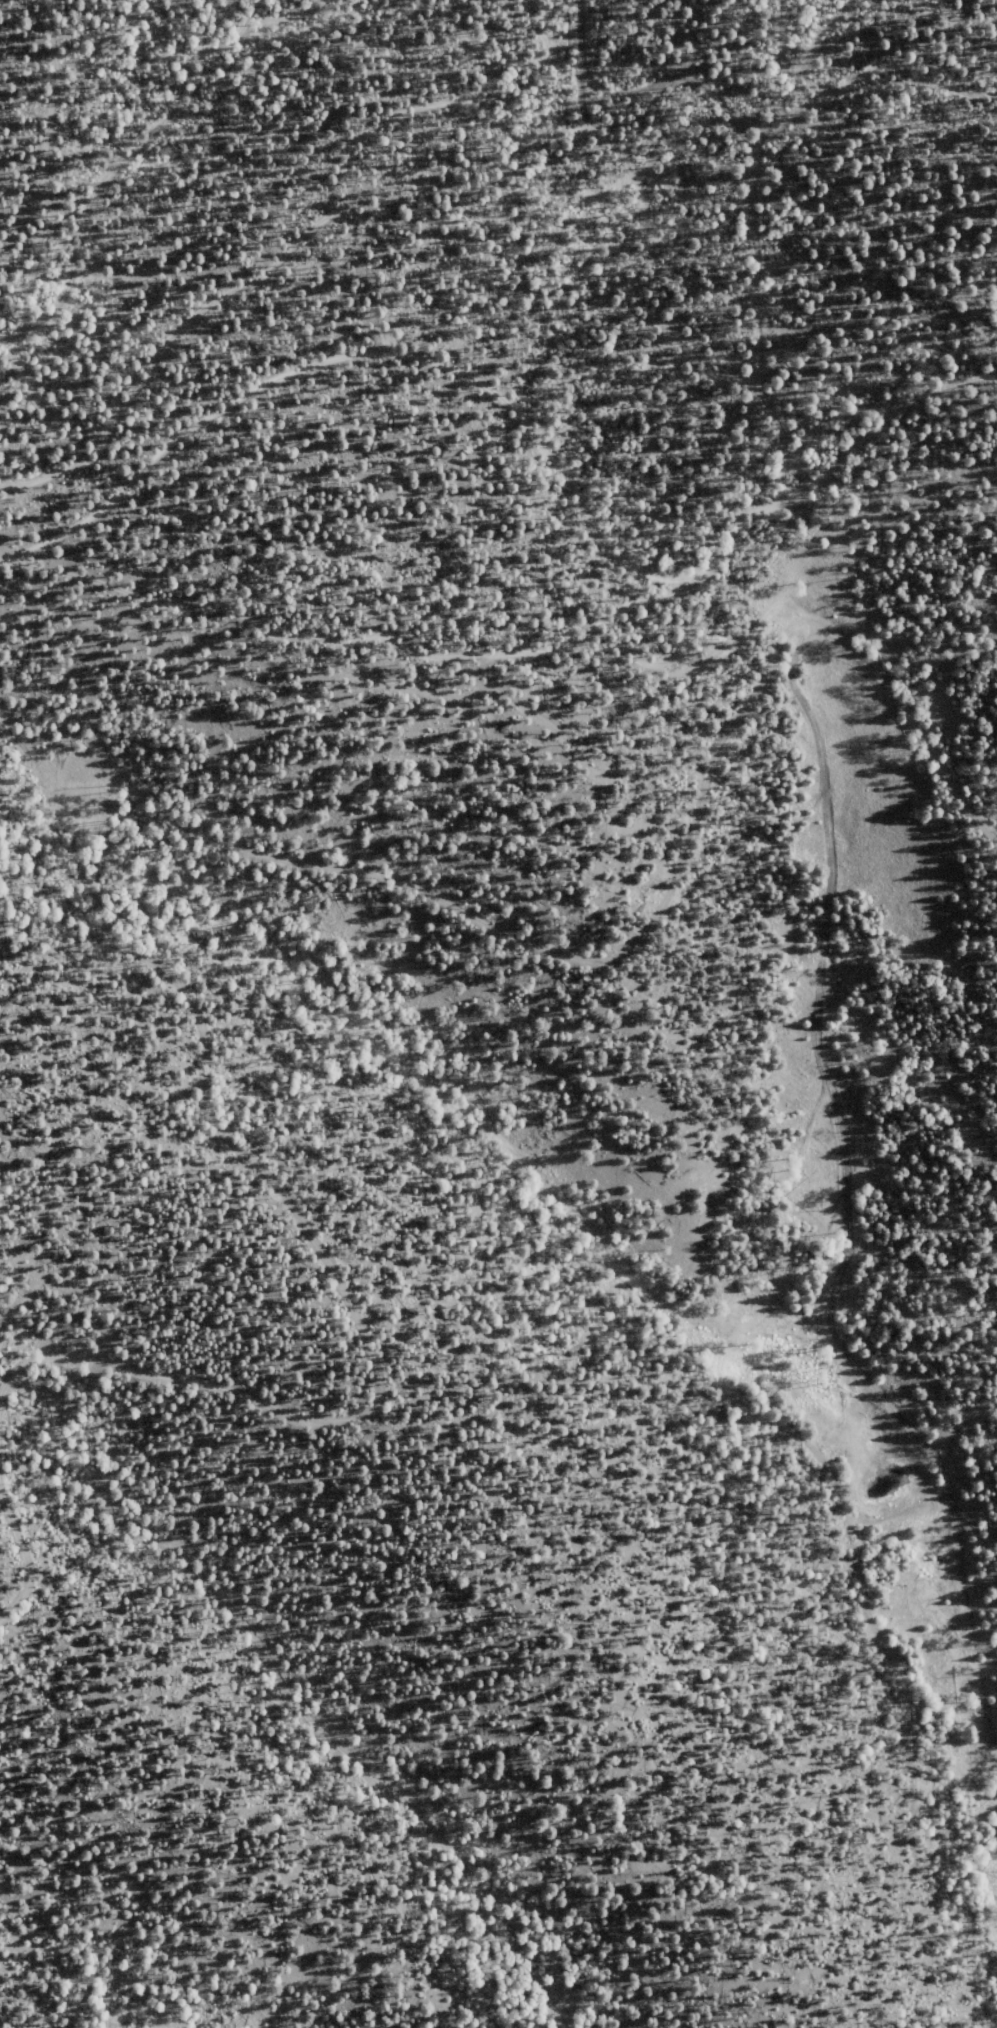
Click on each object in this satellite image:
road: (284, 20)
road: (816, 55)
road: (881, 66)
road: (760, 170)
road: (119, 172)
park: (185, 177)
road: (243, 250)
road: (355, 358)
road: (796, 455)
road: (40, 546)
road: (360, 613)
road: (471, 923)
road: (432, 1451)

